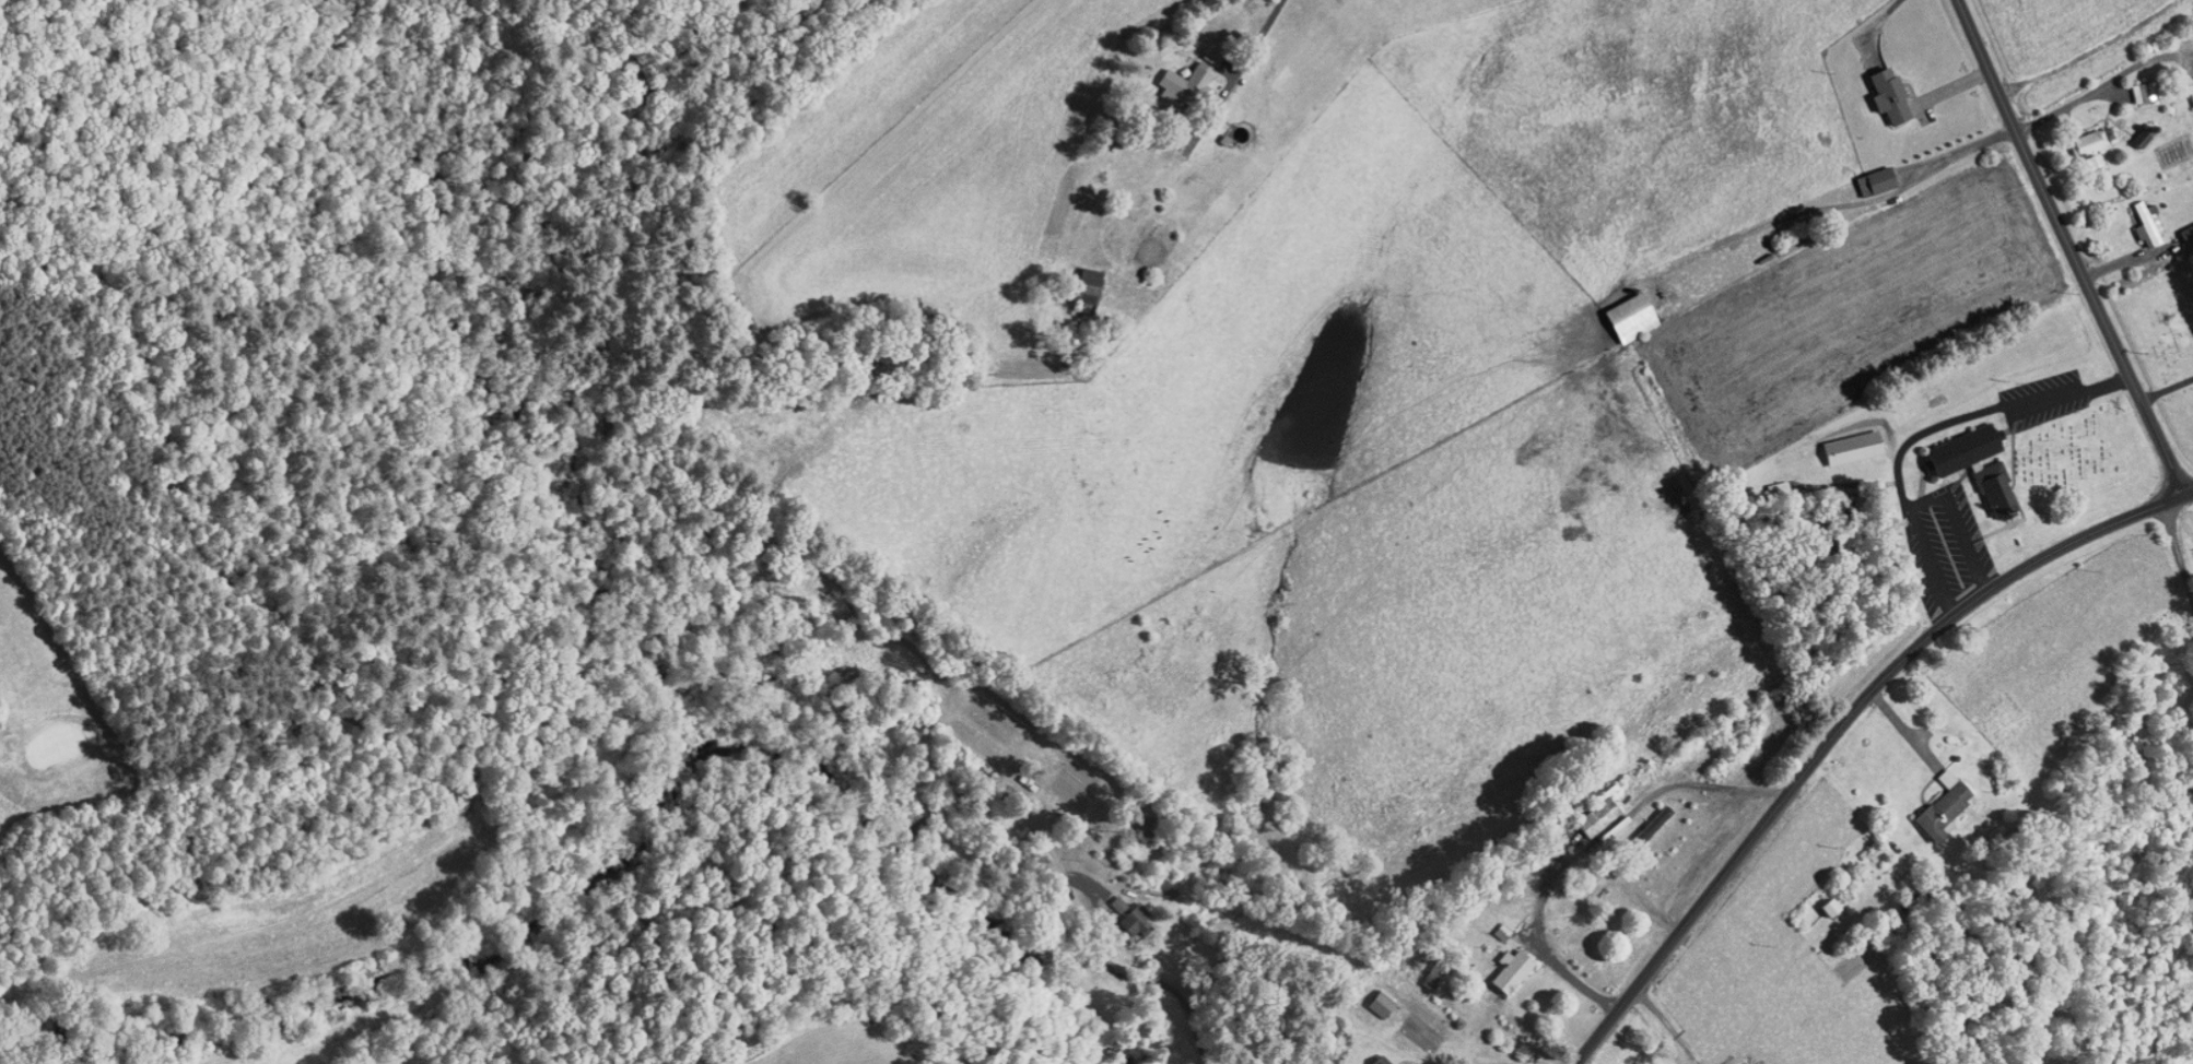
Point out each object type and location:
road: (1250, 51)
building: (1174, 75)
building: (2132, 84)
building: (1879, 87)
building: (2186, 87)
building: (2080, 138)
building: (1865, 174)
building: (2136, 217)
road: (2069, 248)
building: (1076, 282)
building: (1620, 309)
building: (1842, 440)
building: (1966, 458)
road: (2178, 552)
park: (52, 713)
road: (1840, 725)
building: (1932, 800)
building: (1586, 809)
building: (1644, 814)
road: (1588, 847)
road: (1098, 890)
building: (1106, 897)
building: (1819, 900)
building: (1123, 913)
building: (1501, 965)
road: (1157, 980)
building: (1370, 996)
road: (1667, 1025)
building: (1371, 1057)

